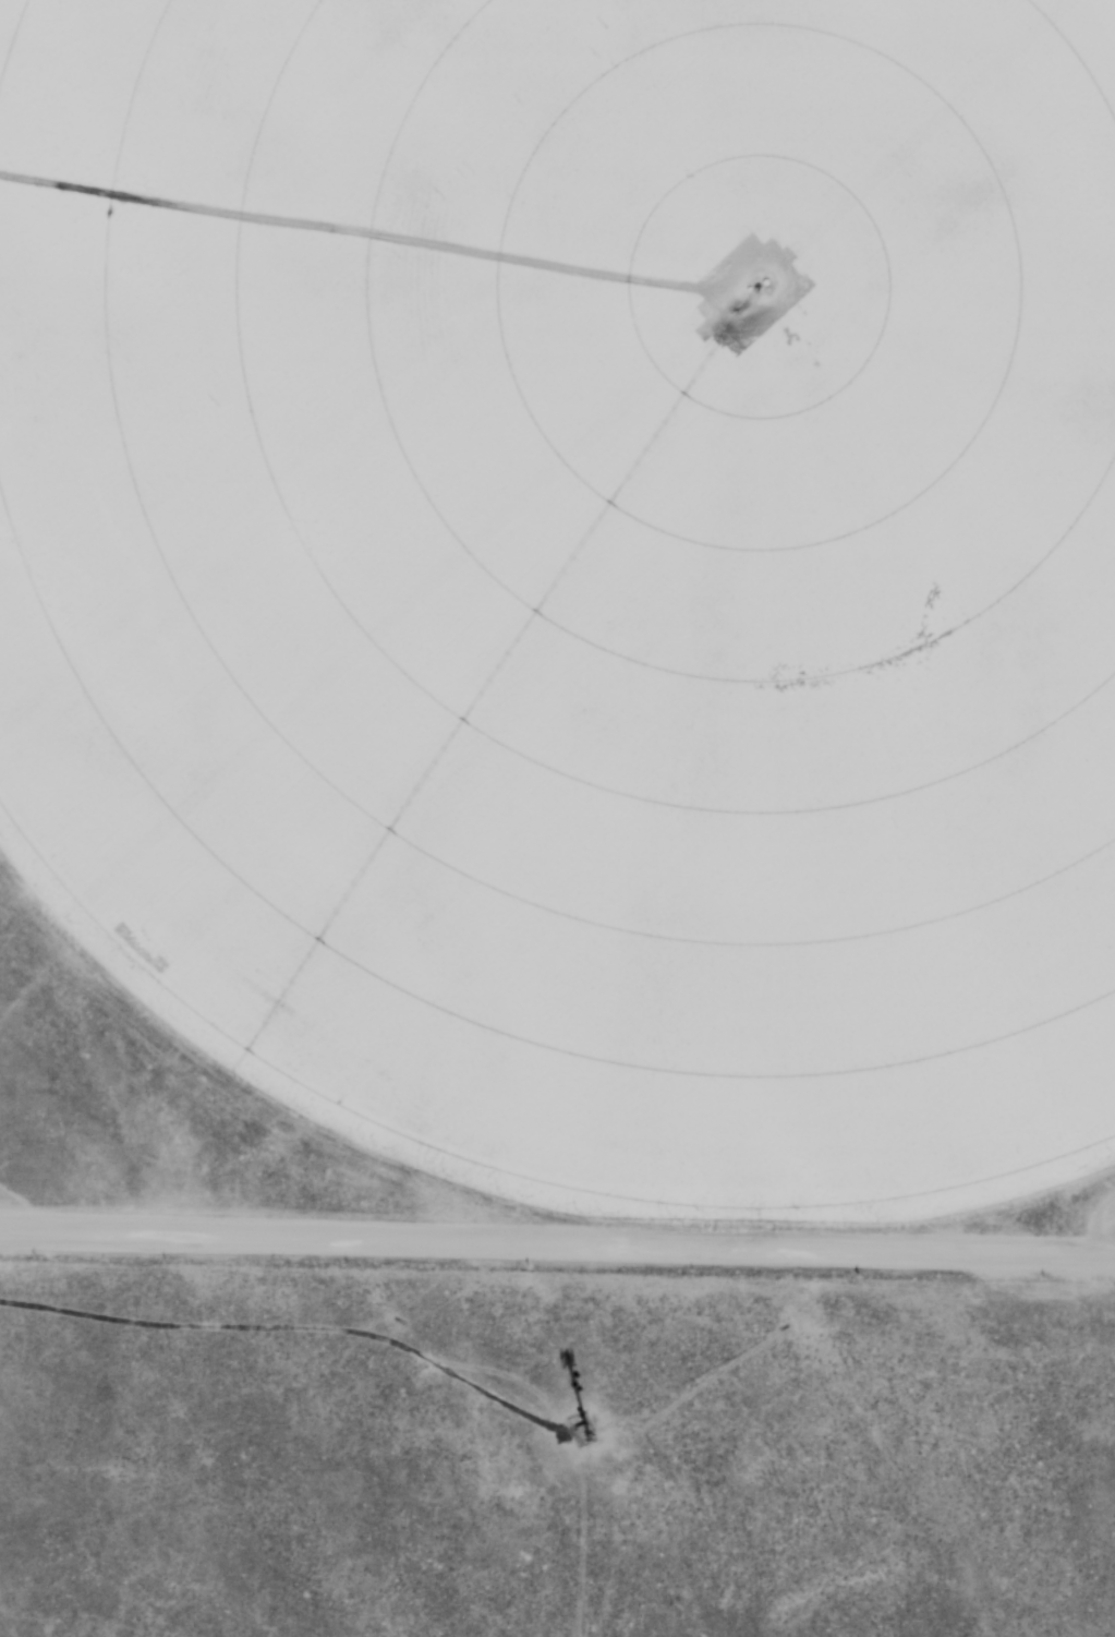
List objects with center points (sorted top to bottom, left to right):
crop: (578, 578)
road: (557, 1245)
road: (277, 1332)

